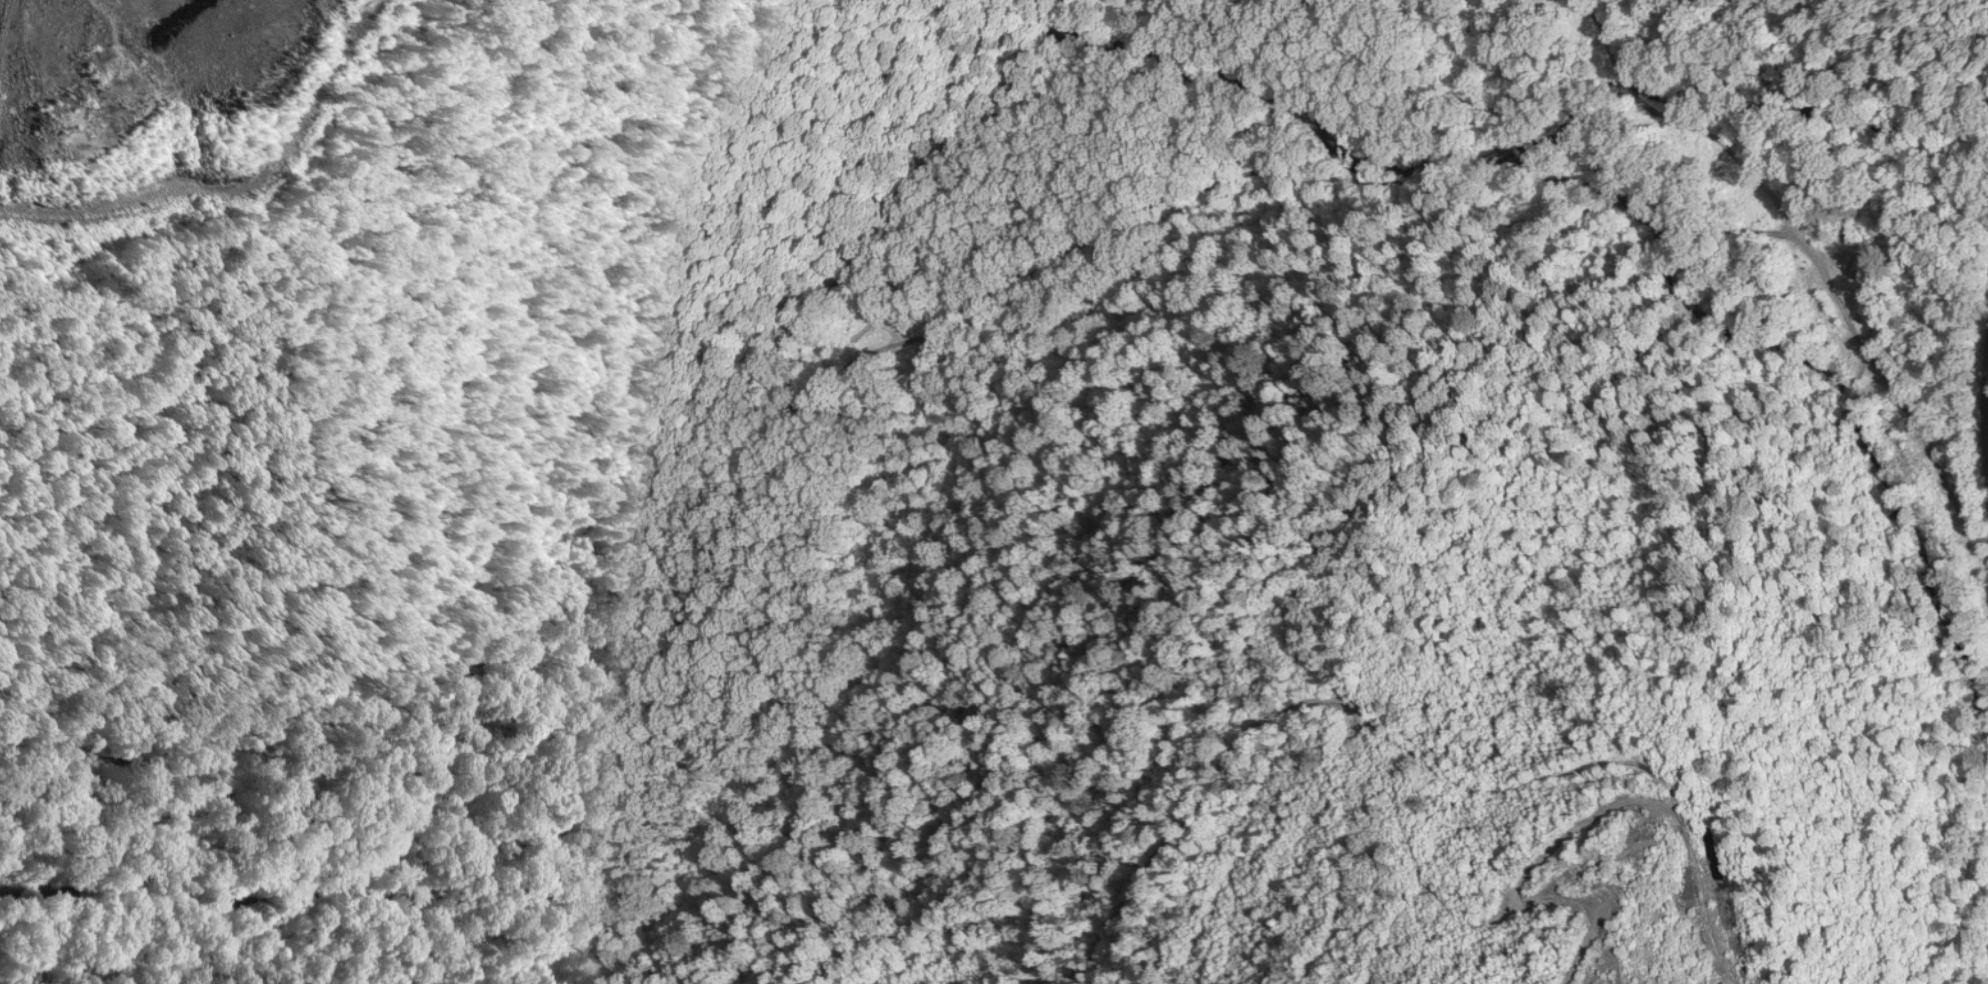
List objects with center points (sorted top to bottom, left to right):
road: (1958, 446)
quarry: (994, 492)

